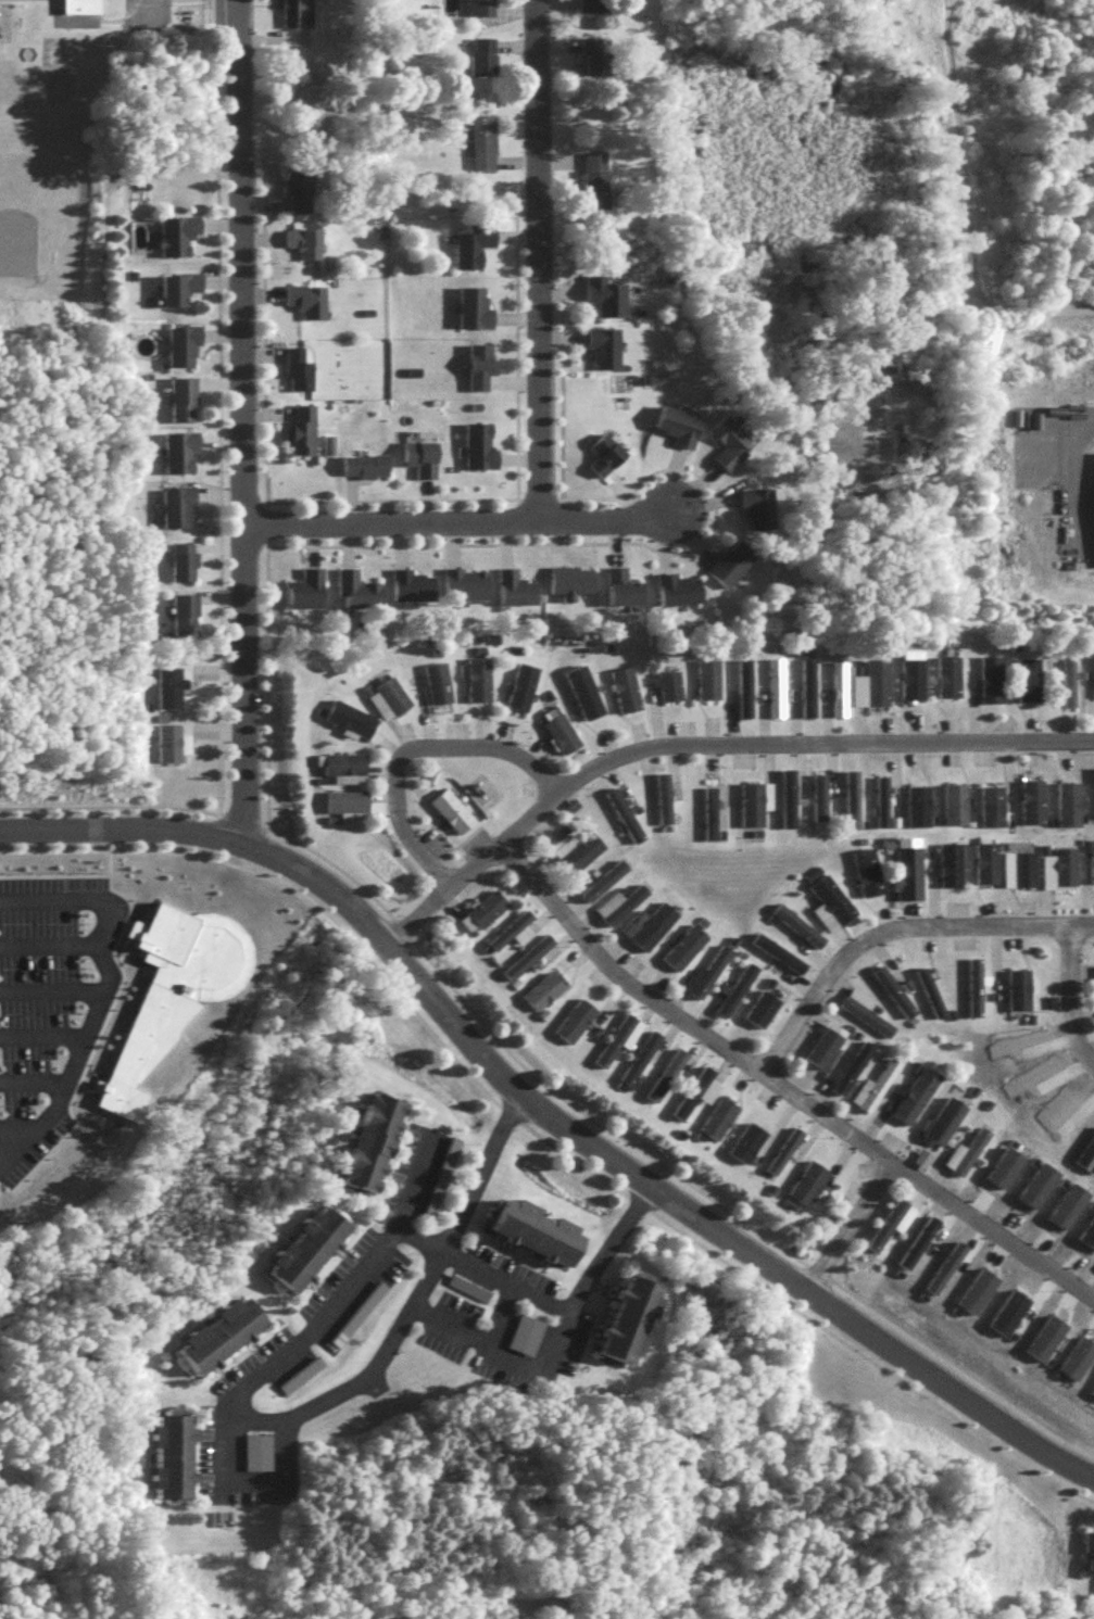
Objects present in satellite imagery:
building: (78, 4)
building: (593, 9)
building: (481, 11)
road: (98, 16)
building: (293, 17)
building: (598, 62)
building: (485, 63)
building: (483, 150)
building: (300, 194)
building: (599, 200)
park: (17, 240)
building: (180, 240)
building: (306, 250)
building: (473, 253)
road: (536, 264)
building: (181, 294)
building: (607, 302)
building: (309, 306)
building: (476, 315)
building: (186, 353)
building: (606, 353)
building: (481, 371)
building: (301, 377)
building: (186, 406)
road: (239, 422)
building: (679, 432)
building: (304, 437)
building: (731, 446)
building: (481, 452)
building: (183, 458)
building: (606, 461)
building: (424, 464)
building: (366, 471)
road: (1068, 472)
building: (758, 513)
building: (179, 514)
road: (454, 528)
building: (186, 568)
building: (733, 568)
building: (570, 587)
building: (466, 591)
building: (413, 593)
building: (516, 594)
building: (624, 594)
building: (679, 595)
building: (307, 596)
building: (357, 596)
building: (187, 621)
building: (945, 673)
building: (908, 675)
building: (703, 676)
building: (475, 678)
building: (1026, 678)
building: (873, 679)
building: (989, 679)
building: (1066, 679)
building: (433, 680)
building: (666, 683)
building: (518, 684)
building: (740, 685)
building: (804, 685)
building: (834, 685)
building: (771, 686)
building: (621, 688)
building: (580, 690)
building: (173, 691)
building: (388, 691)
building: (347, 716)
building: (559, 732)
road: (703, 745)
building: (172, 748)
road: (406, 750)
building: (341, 762)
building: (428, 774)
building: (815, 794)
building: (783, 795)
building: (659, 796)
building: (847, 796)
building: (344, 798)
building: (751, 799)
building: (878, 799)
building: (1030, 800)
building: (952, 802)
building: (1065, 802)
building: (914, 804)
building: (989, 804)
building: (448, 807)
building: (705, 810)
building: (620, 812)
building: (573, 847)
building: (1091, 858)
building: (983, 861)
building: (946, 862)
building: (1061, 862)
building: (904, 865)
building: (1019, 865)
building: (863, 870)
building: (600, 878)
building: (604, 886)
building: (826, 893)
building: (615, 901)
building: (477, 910)
building: (487, 915)
building: (793, 922)
building: (645, 923)
building: (507, 928)
road: (890, 928)
building: (795, 932)
building: (511, 938)
building: (680, 945)
building: (774, 949)
road: (49, 950)
building: (524, 954)
building: (779, 959)
building: (527, 963)
building: (701, 971)
building: (708, 976)
building: (970, 983)
building: (733, 985)
building: (1015, 987)
building: (539, 988)
building: (889, 989)
road: (105, 990)
building: (926, 991)
road: (51, 996)
road: (1066, 1001)
building: (757, 1005)
building: (860, 1007)
building: (570, 1016)
building: (867, 1023)
building: (615, 1037)
road: (41, 1041)
building: (821, 1041)
building: (636, 1053)
building: (640, 1063)
building: (843, 1064)
building: (679, 1067)
building: (661, 1072)
road: (32, 1082)
building: (869, 1084)
building: (689, 1089)
road: (781, 1090)
building: (876, 1091)
building: (910, 1092)
building: (694, 1096)
building: (713, 1116)
road: (549, 1117)
building: (940, 1120)
building: (741, 1139)
building: (376, 1147)
building: (779, 1147)
building: (961, 1151)
building: (784, 1156)
building: (967, 1160)
building: (805, 1180)
building: (442, 1186)
building: (883, 1222)
road: (841, 1226)
building: (893, 1228)
building: (541, 1237)
road: (601, 1248)
building: (311, 1254)
road: (559, 1316)
building: (633, 1325)
building: (348, 1336)
building: (224, 1341)
building: (528, 1342)
building: (302, 1381)
road: (279, 1417)
building: (259, 1458)
building: (177, 1464)
road: (249, 1483)
building: (1091, 1552)

